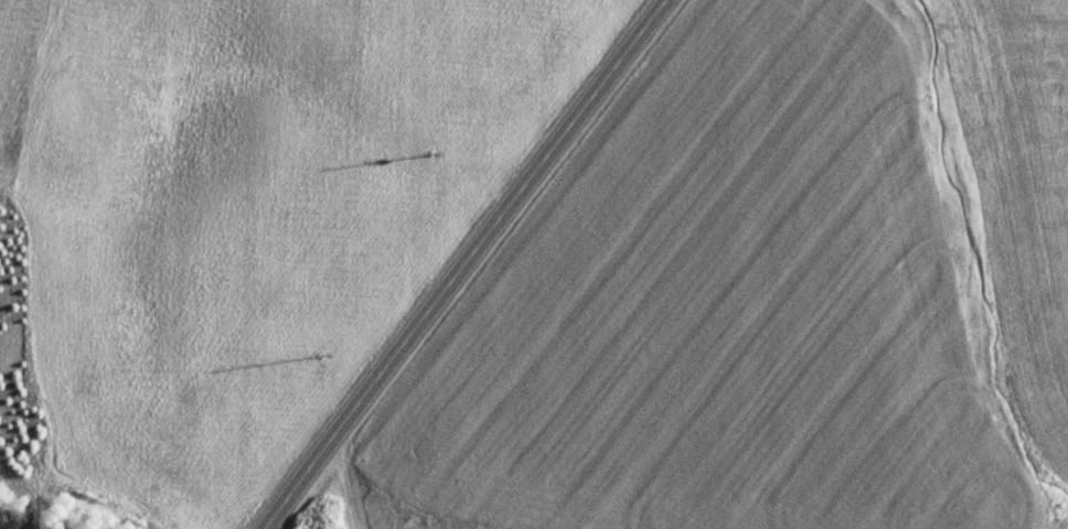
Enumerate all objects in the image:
road: (464, 262)

